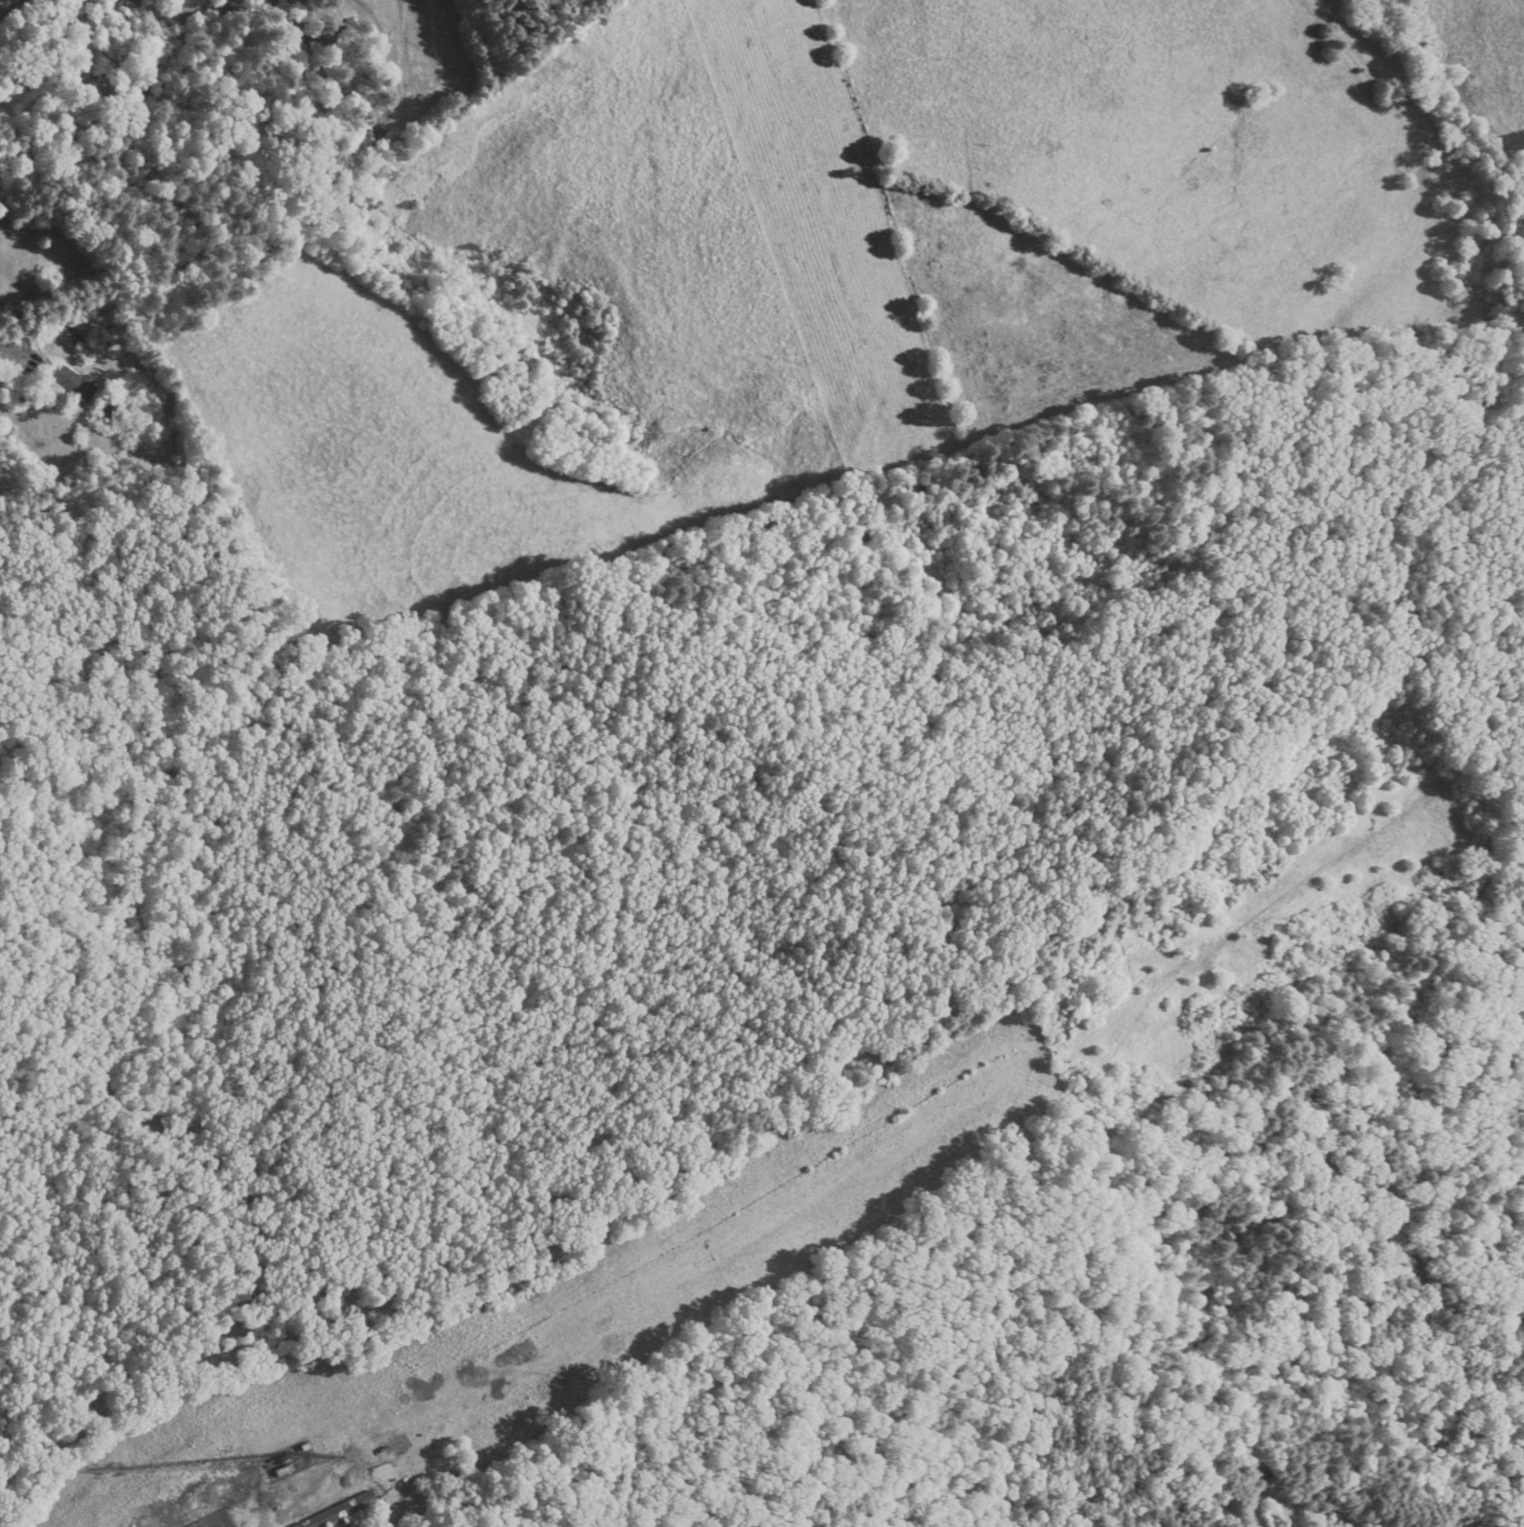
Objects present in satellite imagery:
road: (13, 353)
building: (76, 384)
building: (340, 1513)

